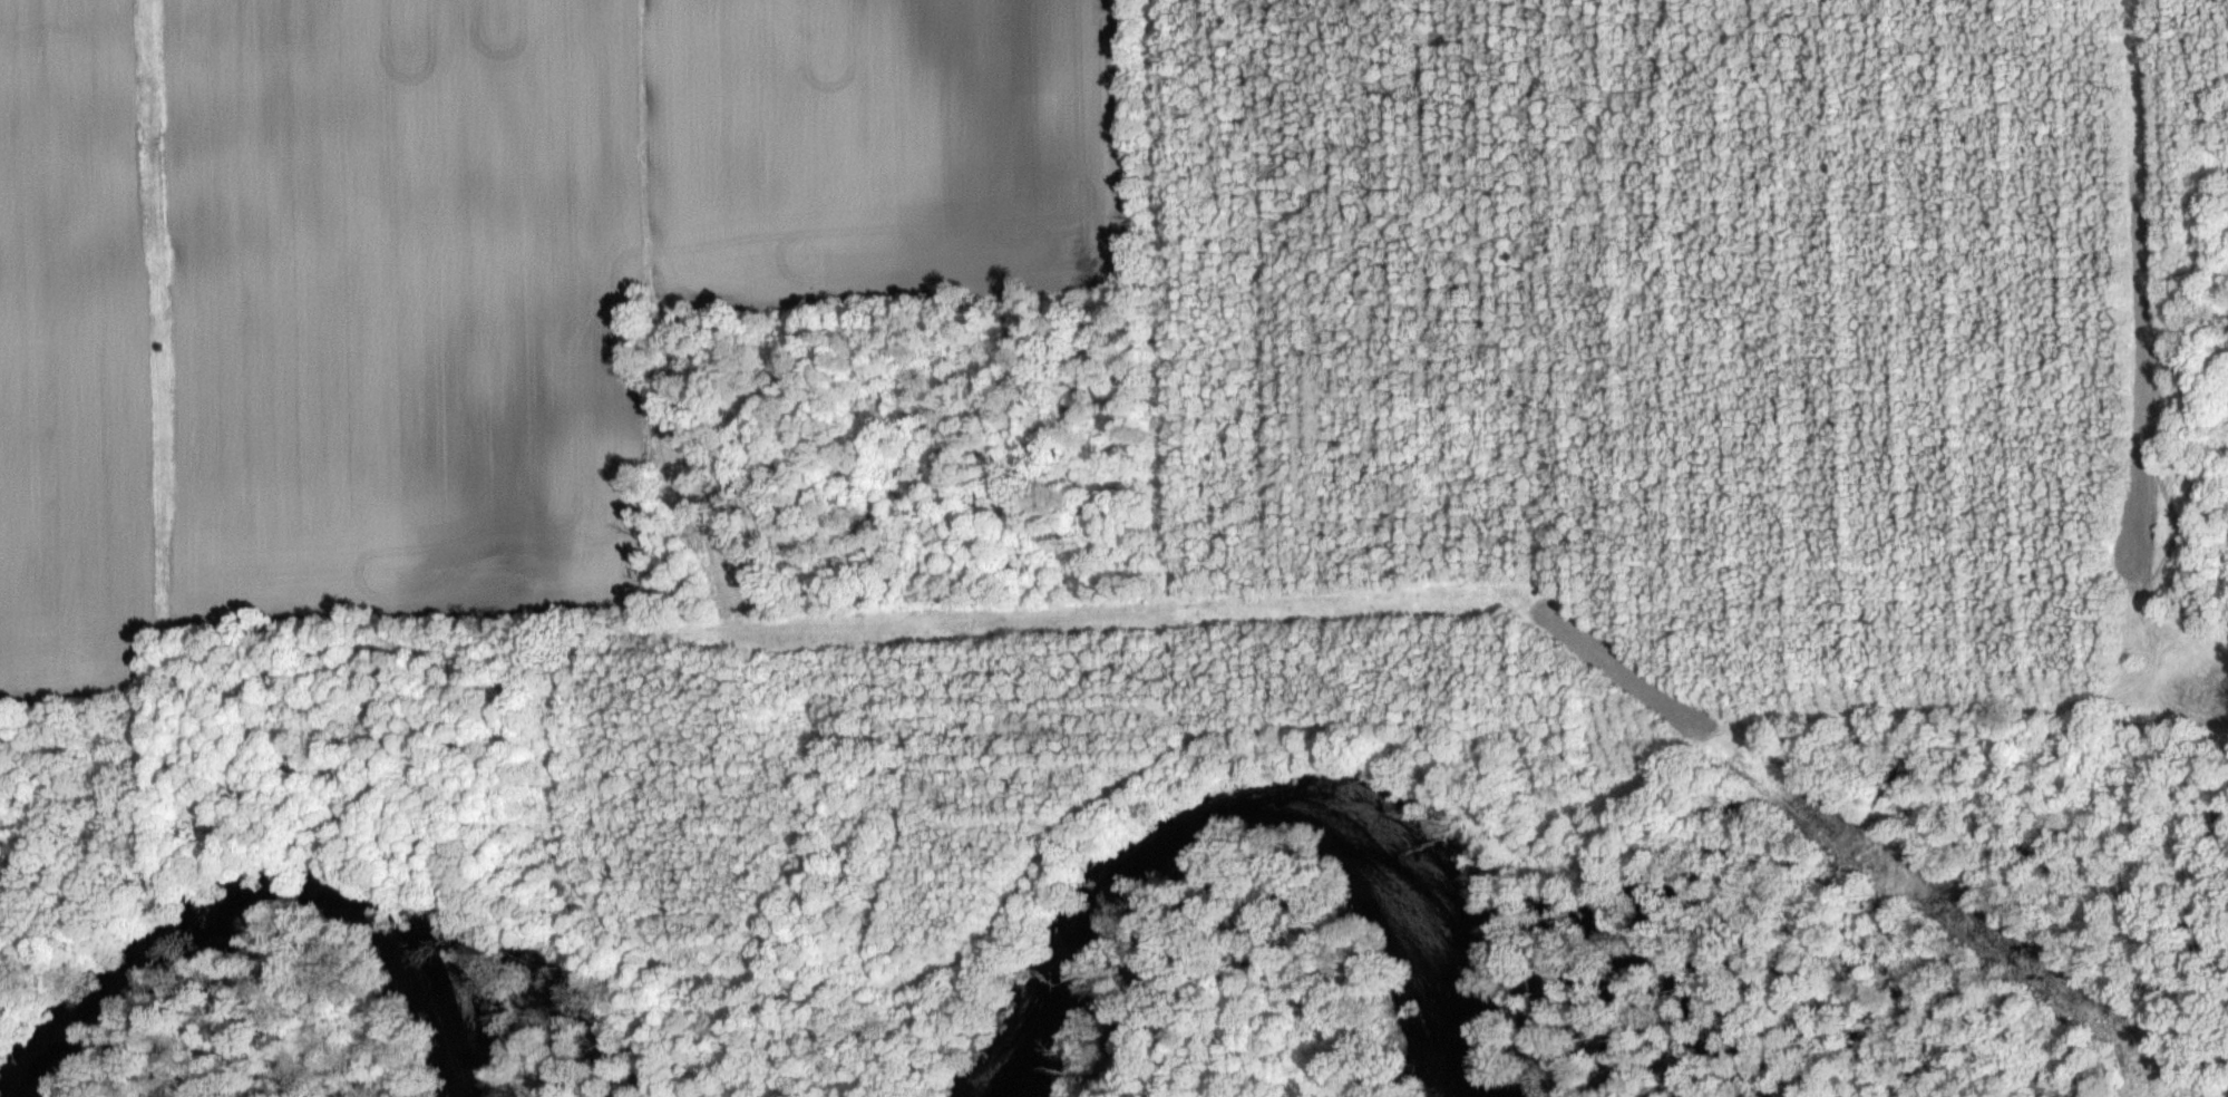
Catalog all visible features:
river: (1253, 805)
river: (272, 901)

